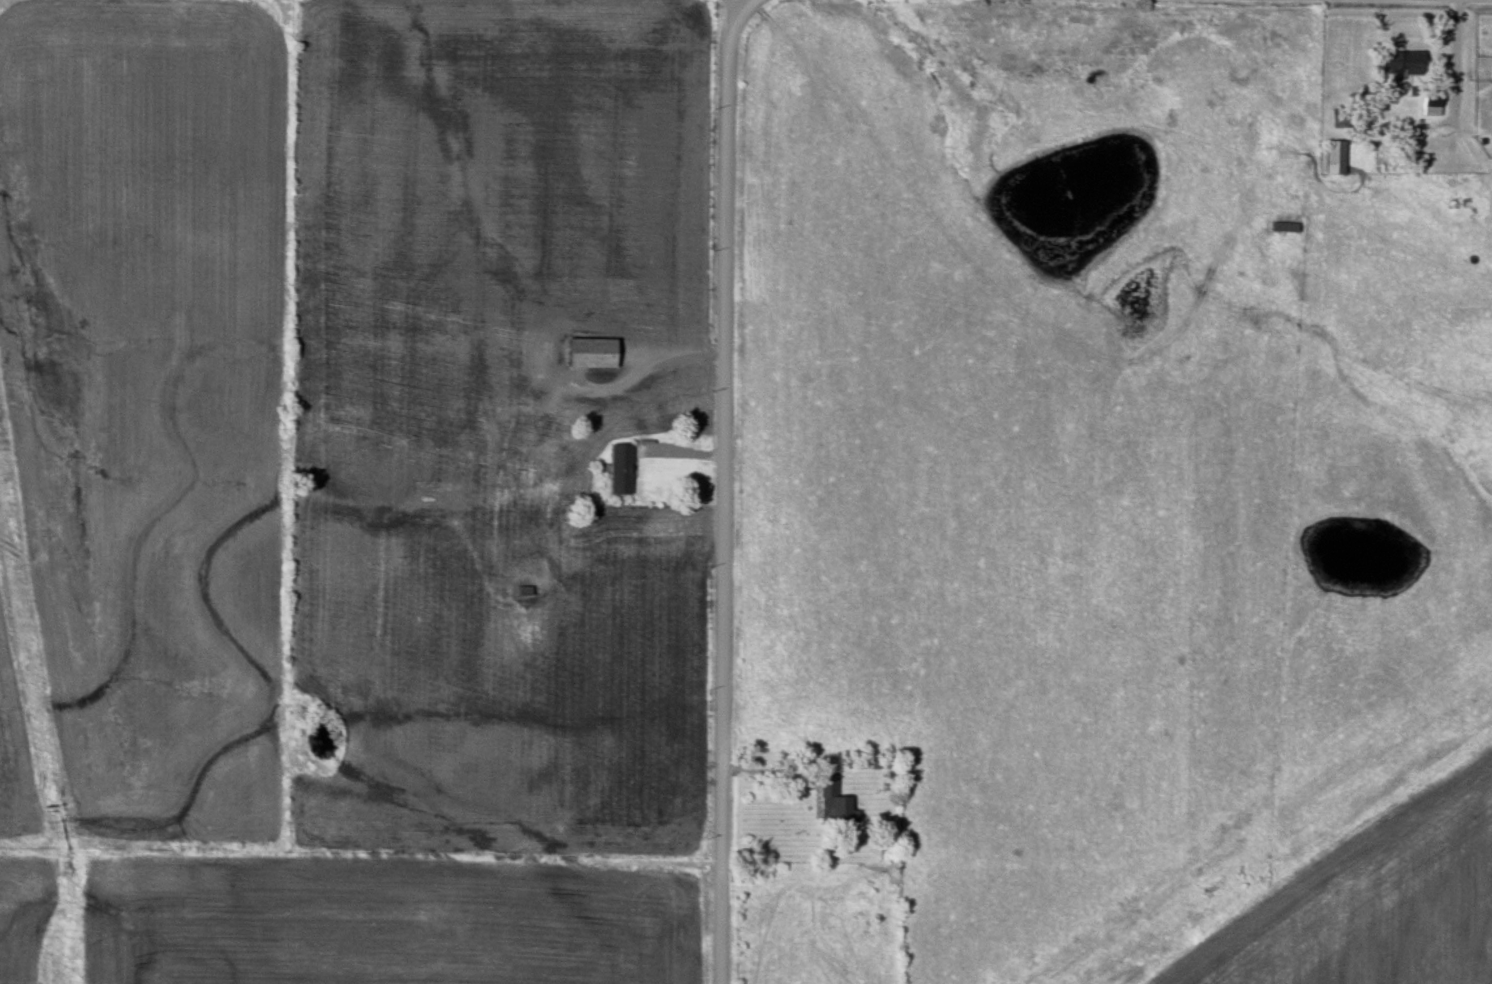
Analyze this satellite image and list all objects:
building: (1404, 61)
road: (1452, 61)
building: (1432, 103)
building: (1342, 119)
building: (1335, 158)
building: (594, 354)
building: (623, 470)
road: (725, 492)
building: (835, 803)
crop: (1378, 905)
crop: (23, 909)
crop: (386, 922)

